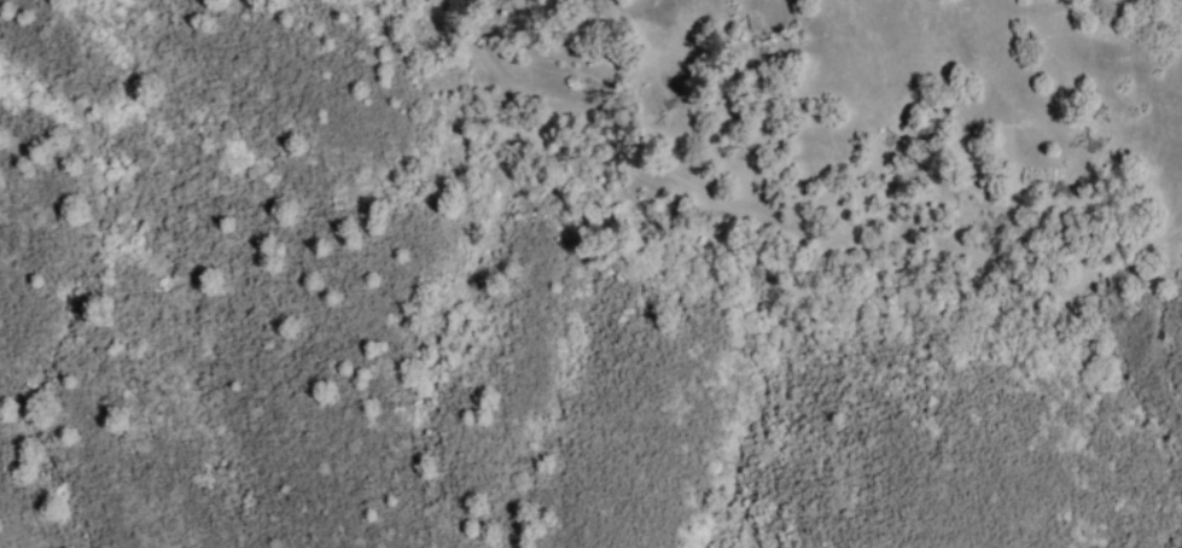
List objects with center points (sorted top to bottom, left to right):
road: (768, 214)

